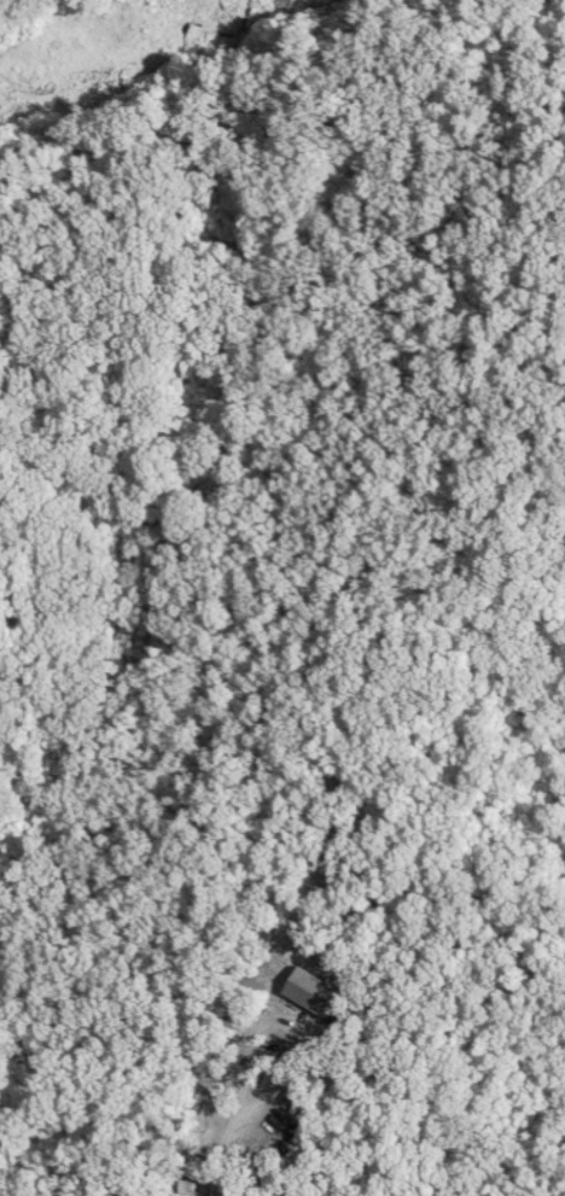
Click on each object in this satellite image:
road: (276, 1032)
building: (231, 1134)
road: (215, 1151)

